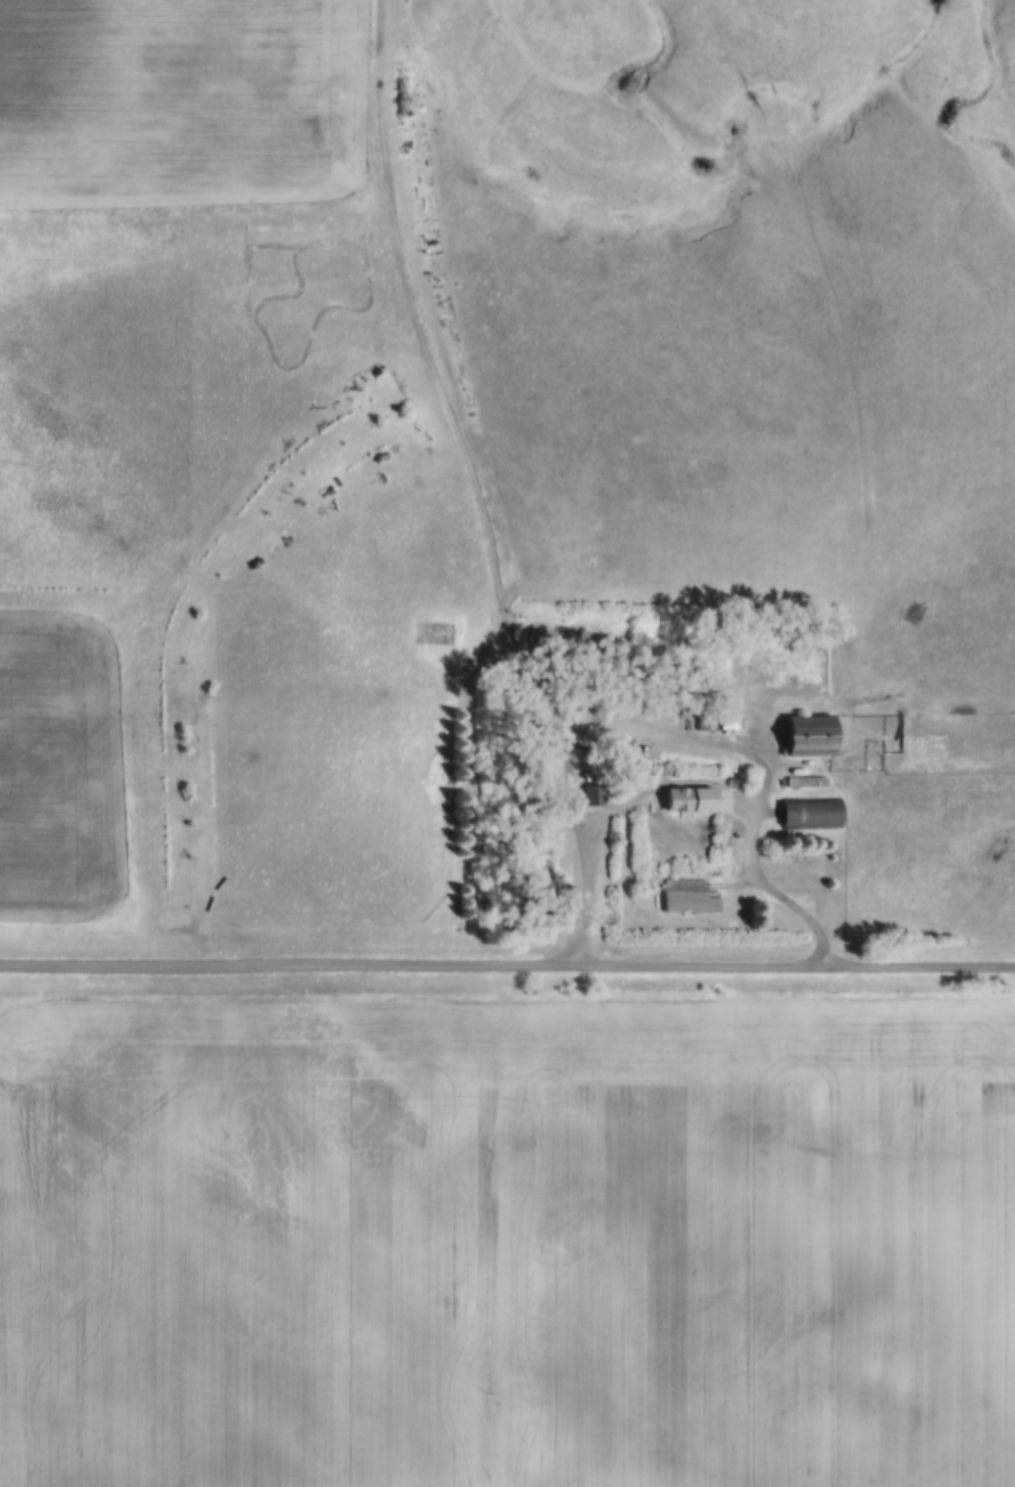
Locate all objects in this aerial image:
road: (455, 425)
building: (807, 737)
road: (691, 785)
building: (592, 797)
building: (687, 801)
building: (808, 815)
building: (687, 898)
road: (507, 973)

